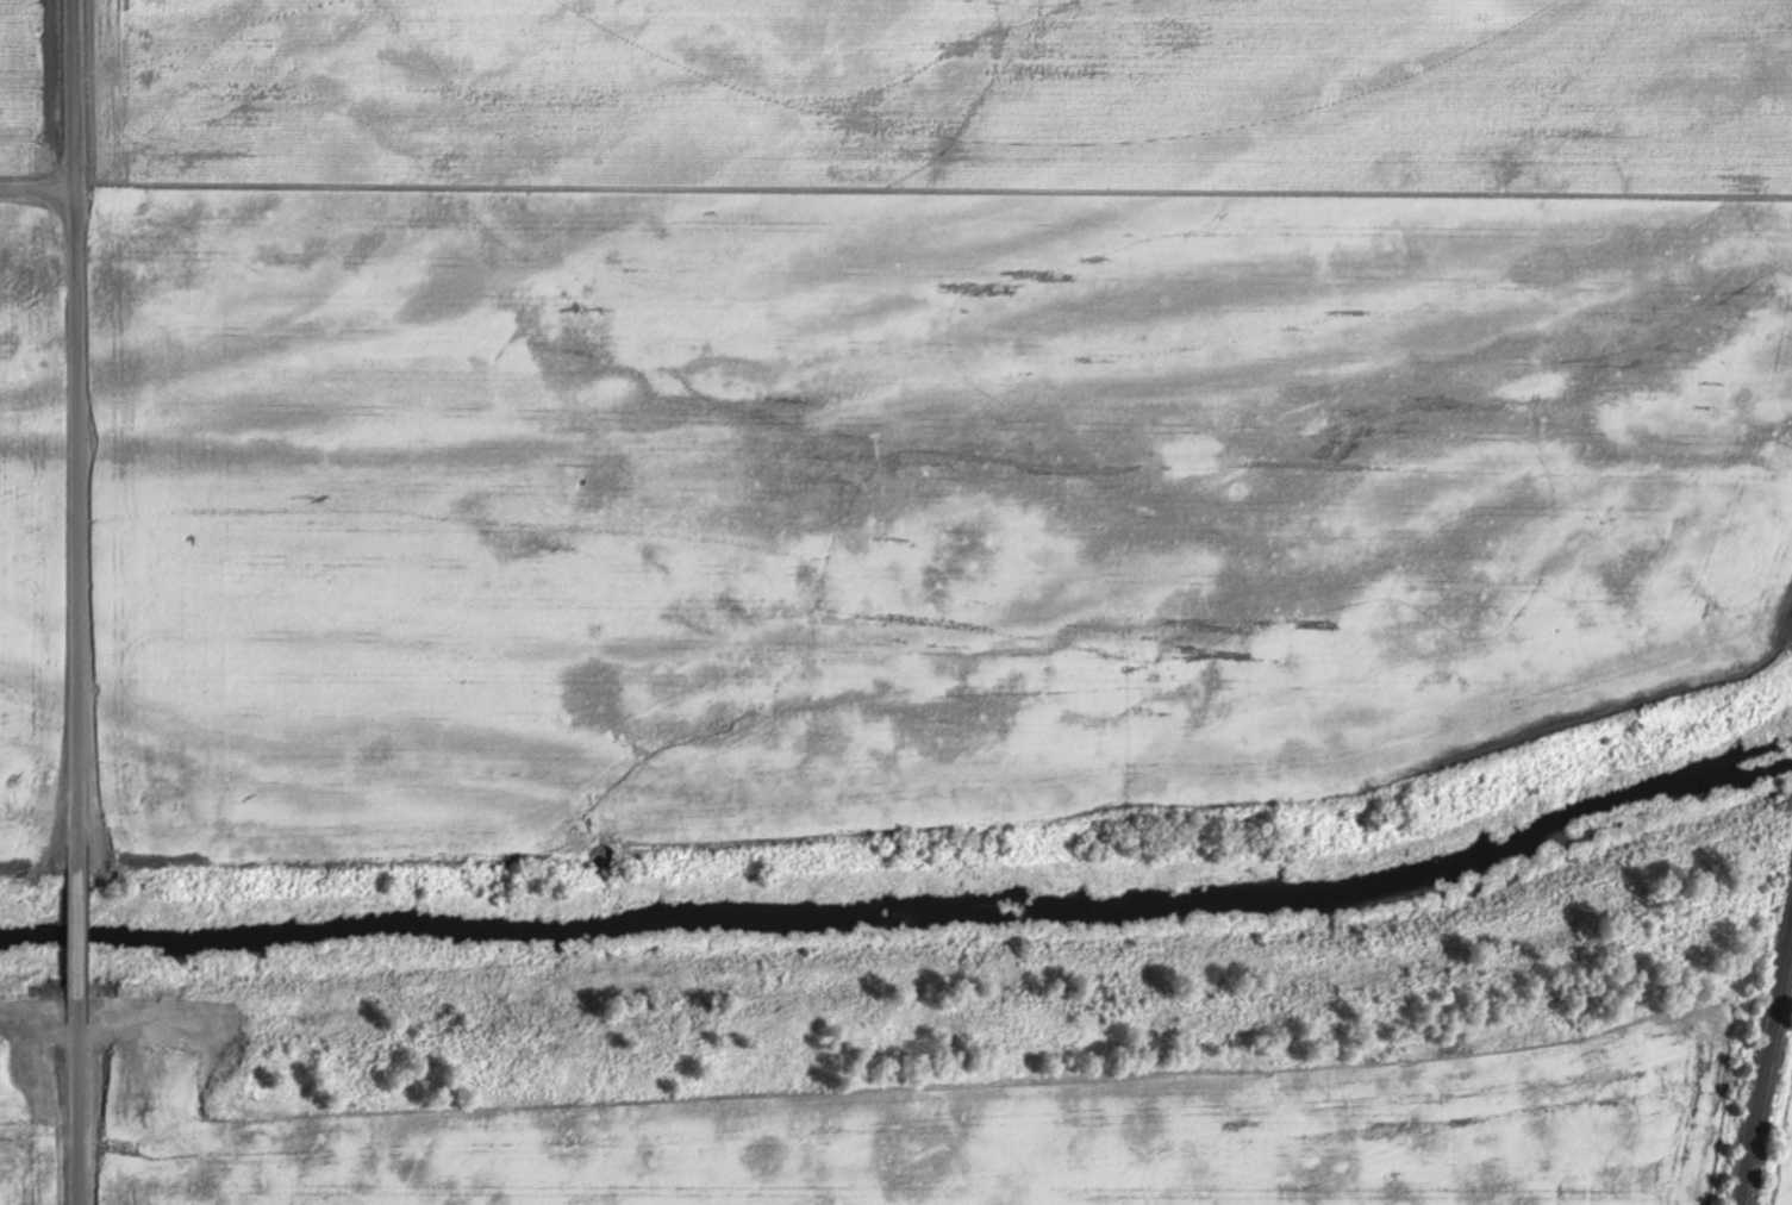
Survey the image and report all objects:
road: (36, 192)
road: (79, 601)
railway: (1766, 1067)

